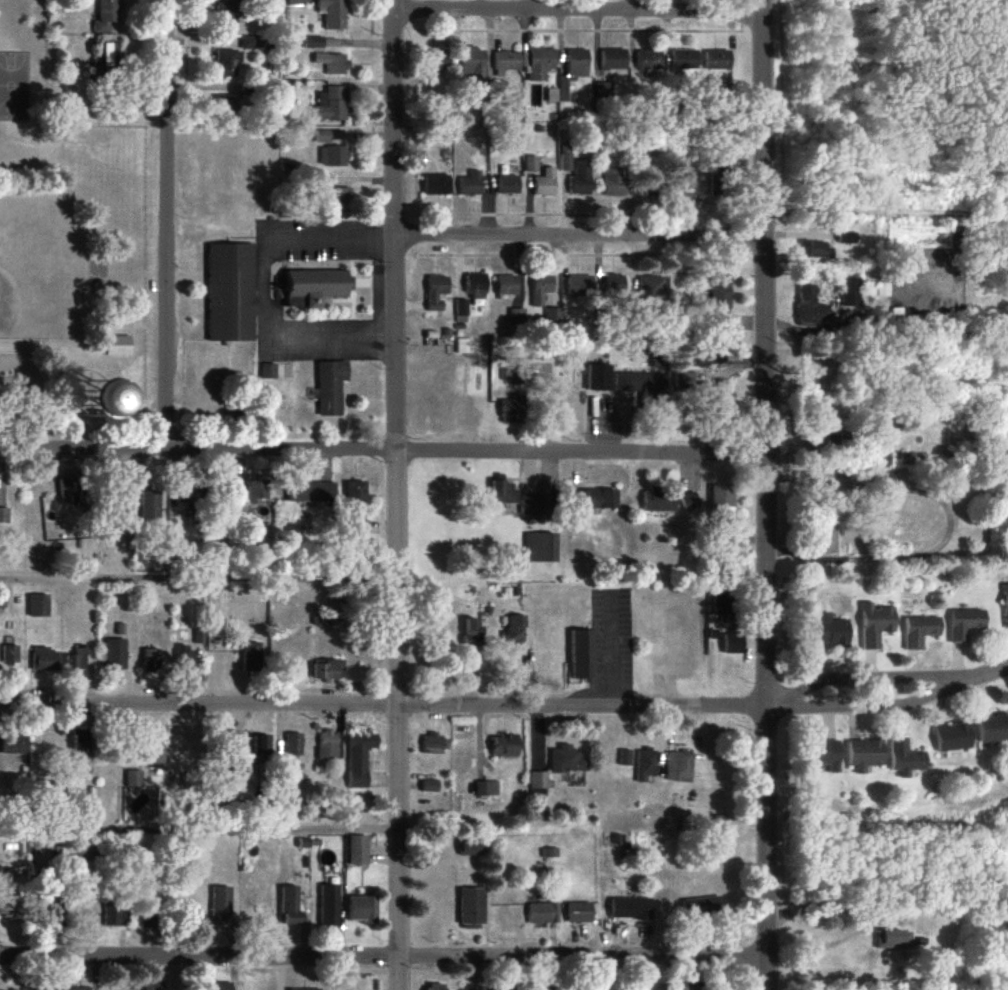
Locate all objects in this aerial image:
road: (577, 9)
building: (332, 13)
building: (107, 15)
building: (227, 15)
building: (246, 42)
building: (311, 42)
building: (109, 54)
building: (613, 59)
building: (685, 59)
building: (718, 59)
building: (649, 60)
building: (507, 61)
building: (436, 62)
building: (226, 63)
building: (332, 63)
building: (473, 63)
building: (541, 63)
building: (570, 74)
park: (16, 85)
building: (496, 86)
building: (602, 92)
building: (223, 105)
building: (331, 105)
building: (328, 135)
building: (332, 155)
building: (565, 158)
building: (531, 163)
building: (580, 177)
building: (615, 181)
building: (718, 181)
building: (470, 183)
building: (545, 183)
building: (436, 184)
building: (508, 184)
building: (339, 199)
road: (165, 224)
road: (579, 236)
building: (847, 238)
building: (813, 249)
park: (71, 257)
park: (42, 267)
building: (612, 283)
building: (474, 285)
building: (506, 285)
building: (579, 285)
building: (650, 285)
building: (315, 286)
building: (540, 288)
building: (882, 289)
building: (231, 291)
road: (267, 291)
building: (436, 291)
building: (849, 292)
building: (720, 293)
building: (810, 307)
building: (552, 314)
building: (515, 319)
building: (119, 345)
building: (462, 345)
building: (704, 357)
building: (268, 371)
building: (508, 373)
building: (599, 377)
building: (683, 381)
building: (640, 383)
building: (330, 387)
building: (113, 395)
water tower: (92, 399)
building: (511, 410)
road: (381, 448)
building: (68, 487)
building: (254, 491)
building: (311, 492)
building: (503, 493)
building: (356, 494)
road: (764, 494)
road: (395, 495)
building: (597, 499)
building: (659, 500)
building: (689, 502)
building: (721, 502)
building: (186, 503)
building: (148, 506)
building: (534, 506)
building: (3, 515)
building: (359, 524)
building: (826, 541)
building: (541, 547)
road: (197, 576)
building: (38, 605)
building: (1005, 606)
building: (724, 607)
building: (964, 623)
building: (875, 624)
building: (514, 630)
building: (919, 630)
building: (830, 631)
building: (472, 632)
building: (197, 637)
building: (733, 643)
road: (608, 648)
building: (9, 654)
building: (114, 654)
building: (582, 654)
building: (182, 656)
building: (249, 657)
building: (44, 659)
building: (76, 659)
building: (149, 659)
building: (326, 669)
road: (381, 703)
road: (889, 705)
building: (992, 728)
building: (952, 737)
building: (14, 744)
building: (82, 744)
building: (293, 744)
building: (431, 744)
building: (326, 745)
building: (504, 745)
building: (153, 752)
building: (824, 754)
building: (865, 754)
building: (358, 757)
building: (623, 757)
building: (905, 758)
building: (565, 760)
building: (645, 764)
building: (679, 766)
building: (133, 778)
building: (538, 784)
building: (429, 786)
building: (485, 788)
road: (198, 830)
building: (471, 848)
building: (357, 850)
building: (220, 904)
building: (290, 906)
building: (329, 906)
building: (12, 907)
building: (701, 907)
building: (472, 908)
building: (630, 908)
building: (362, 909)
building: (579, 912)
building: (541, 913)
building: (114, 914)
building: (893, 939)
road: (382, 956)
building: (153, 985)
building: (218, 986)
building: (437, 986)
building: (695, 986)
building: (653, 987)
building: (79, 988)
building: (305, 989)

